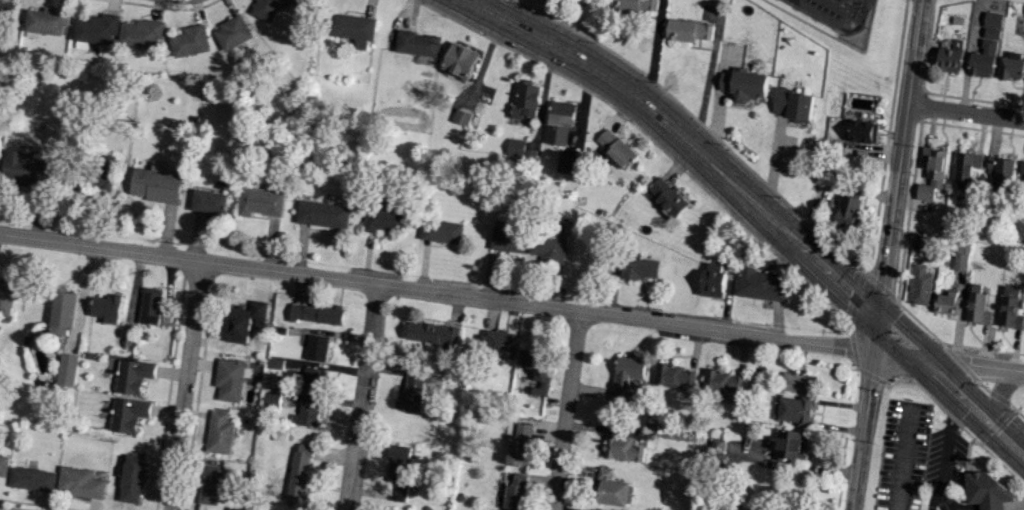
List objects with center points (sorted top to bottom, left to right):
building: (635, 5)
building: (267, 8)
building: (48, 20)
building: (97, 28)
building: (353, 28)
building: (688, 30)
building: (232, 32)
building: (141, 33)
building: (190, 41)
building: (418, 43)
building: (986, 47)
building: (460, 60)
building: (949, 60)
building: (1011, 66)
building: (744, 85)
building: (526, 98)
building: (792, 103)
road: (965, 113)
building: (461, 117)
building: (560, 122)
building: (862, 131)
building: (615, 148)
building: (519, 150)
building: (566, 163)
building: (24, 167)
building: (966, 167)
building: (1021, 171)
building: (999, 172)
building: (932, 173)
building: (156, 183)
road: (743, 193)
building: (667, 196)
building: (209, 201)
building: (260, 201)
building: (847, 212)
building: (322, 214)
building: (384, 219)
building: (442, 231)
building: (507, 238)
building: (928, 243)
building: (548, 246)
road: (885, 255)
building: (961, 255)
building: (638, 266)
building: (713, 280)
building: (761, 285)
building: (921, 285)
road: (509, 300)
building: (946, 304)
building: (150, 305)
building: (977, 306)
building: (107, 308)
building: (1010, 308)
building: (62, 313)
building: (316, 313)
traffic signals: (878, 319)
building: (237, 325)
building: (432, 333)
building: (499, 343)
building: (317, 348)
traffic signals: (873, 352)
traffic signals: (920, 358)
building: (537, 368)
building: (66, 370)
road: (1021, 371)
building: (132, 375)
building: (626, 376)
building: (675, 376)
building: (229, 379)
building: (312, 380)
building: (723, 382)
building: (798, 382)
road: (183, 385)
building: (413, 388)
road: (995, 394)
road: (359, 396)
building: (270, 399)
road: (569, 410)
building: (795, 410)
building: (306, 413)
building: (128, 414)
building: (219, 433)
road: (945, 436)
road: (1007, 441)
building: (791, 444)
building: (718, 445)
building: (519, 446)
building: (622, 448)
road: (902, 457)
building: (397, 472)
building: (298, 473)
building: (131, 478)
building: (32, 479)
building: (79, 482)
building: (210, 484)
road: (940, 487)
building: (613, 489)
building: (986, 490)
building: (515, 492)
road: (931, 497)
road: (942, 503)
road: (945, 503)
road: (981, 503)
building: (595, 509)
road: (951, 509)
road: (953, 509)
road: (1023, 509)

